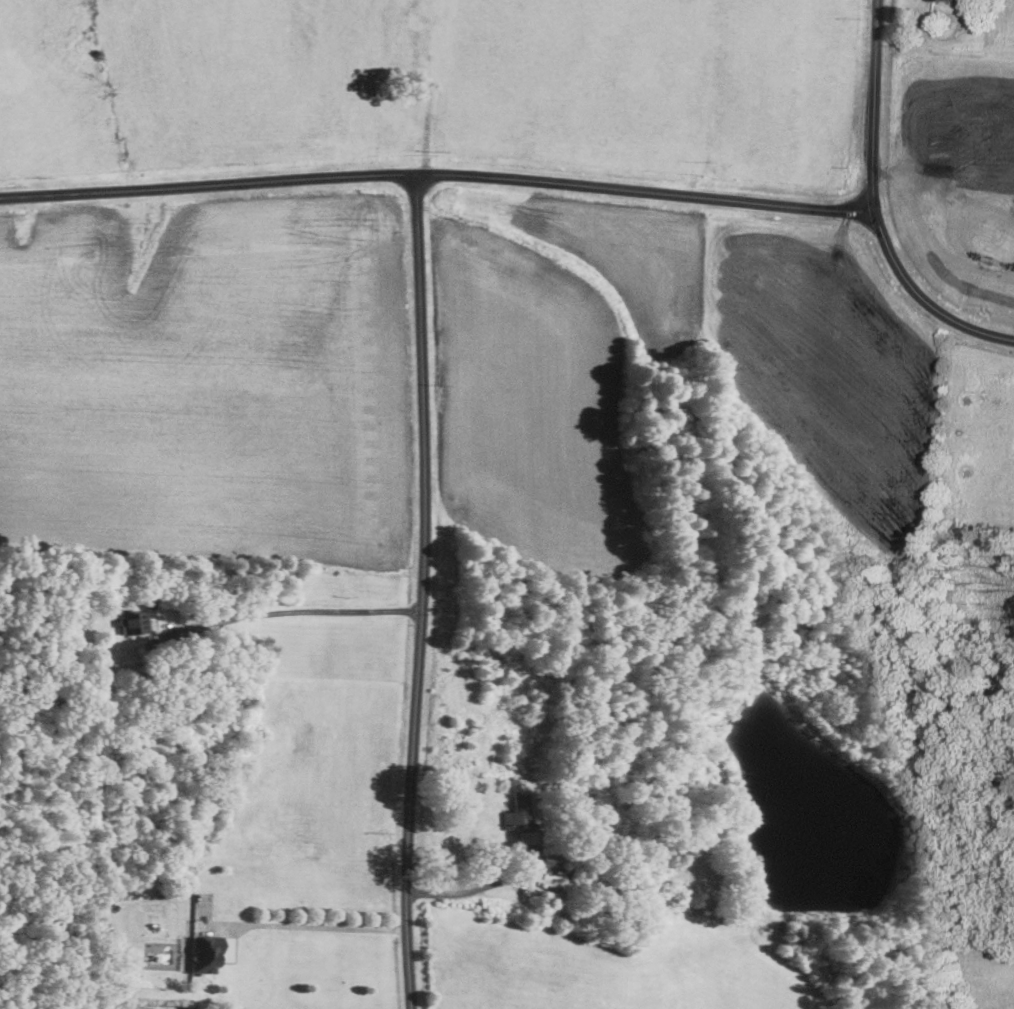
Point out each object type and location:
road: (878, 108)
road: (208, 186)
road: (644, 191)
road: (915, 307)
road: (423, 593)
road: (291, 611)
road: (469, 892)
road: (315, 926)
building: (209, 953)

